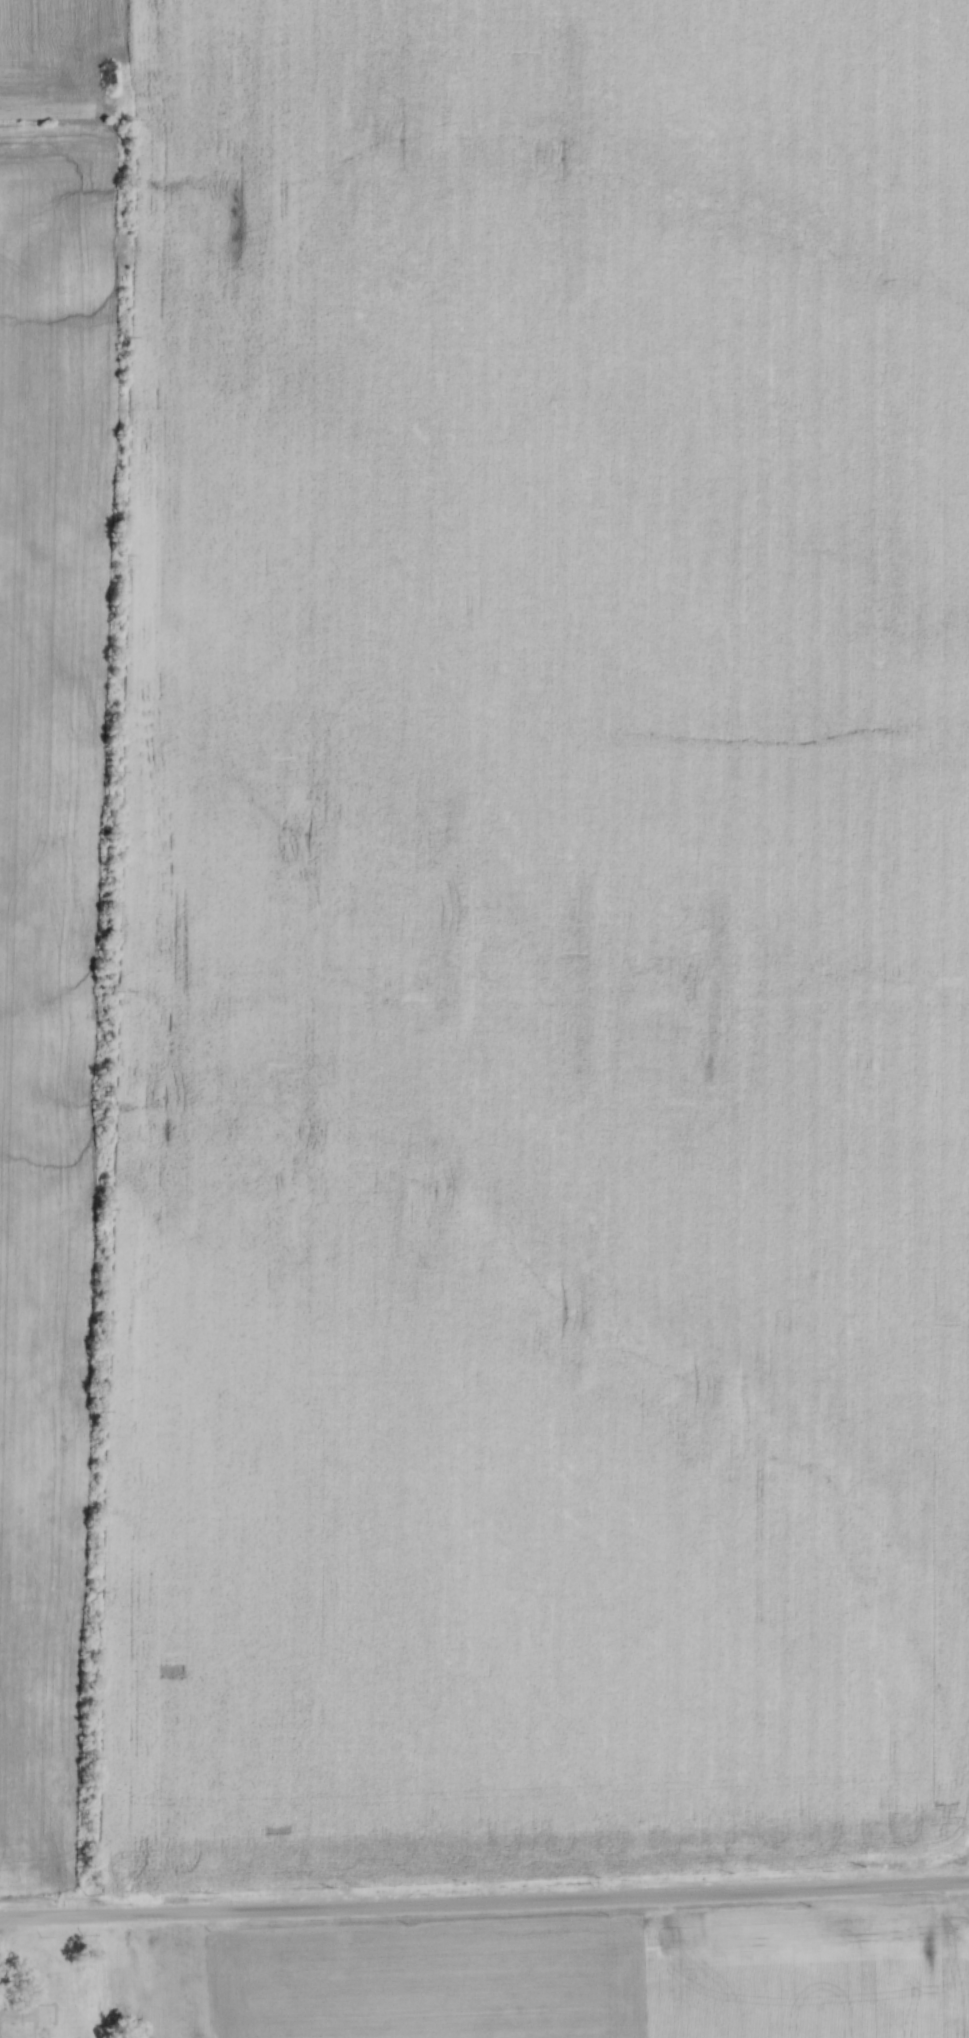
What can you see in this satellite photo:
road: (484, 1903)
road: (1, 1939)
building: (43, 1996)
road: (15, 2008)

